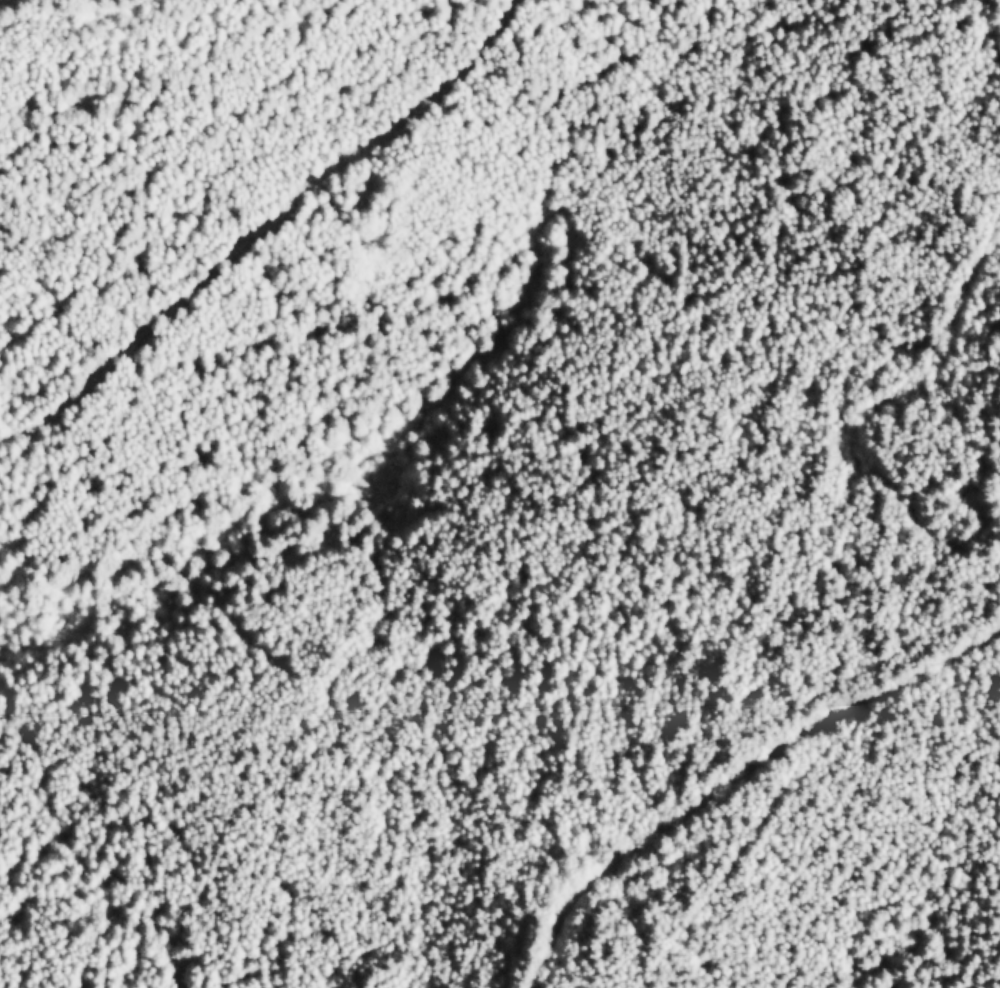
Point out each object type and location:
road: (737, 780)

